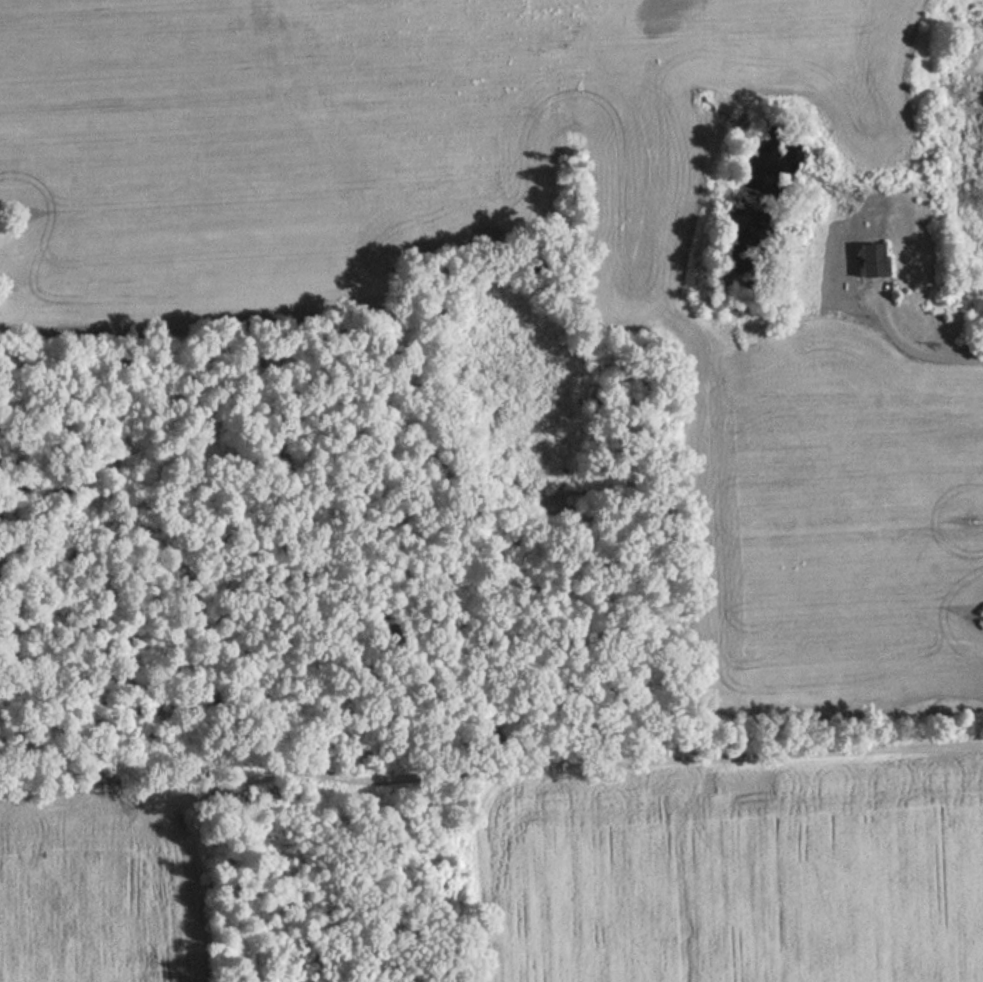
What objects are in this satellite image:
building: (868, 257)
road: (910, 348)

